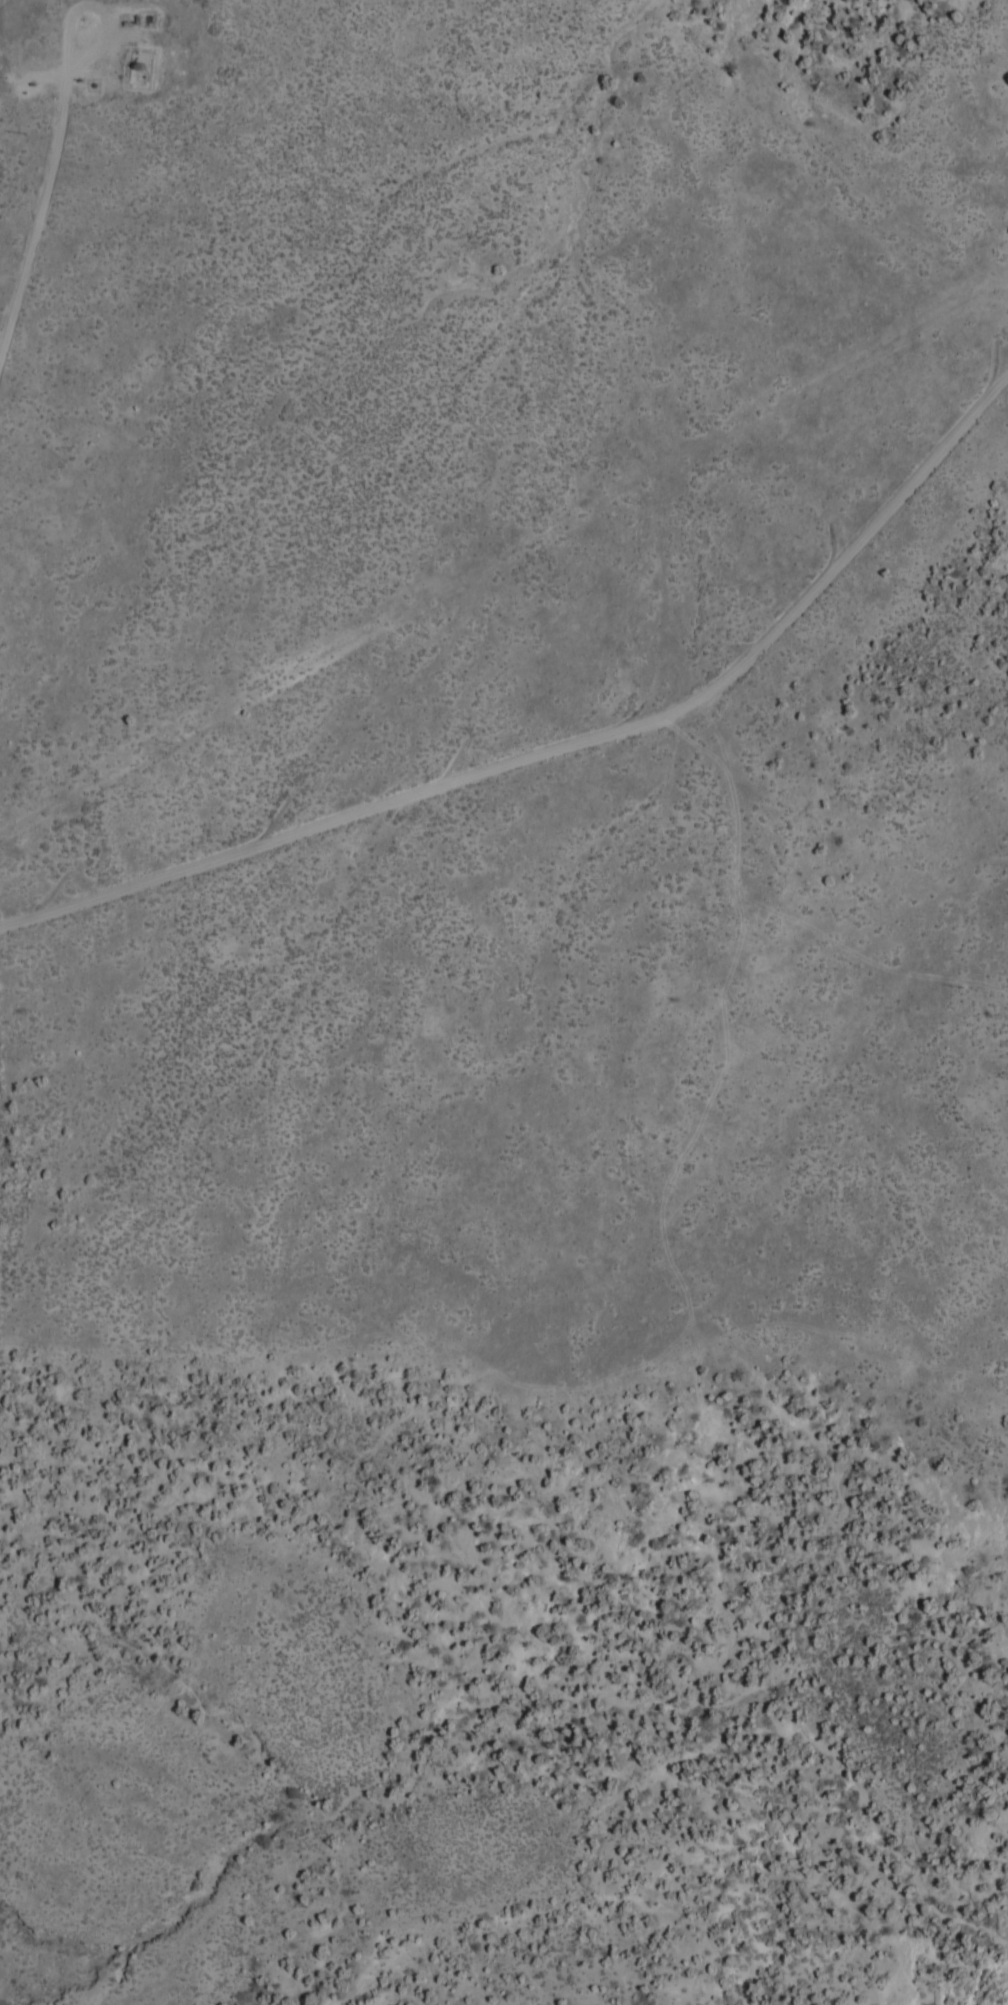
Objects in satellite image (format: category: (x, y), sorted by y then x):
road: (39, 217)
road: (561, 784)

